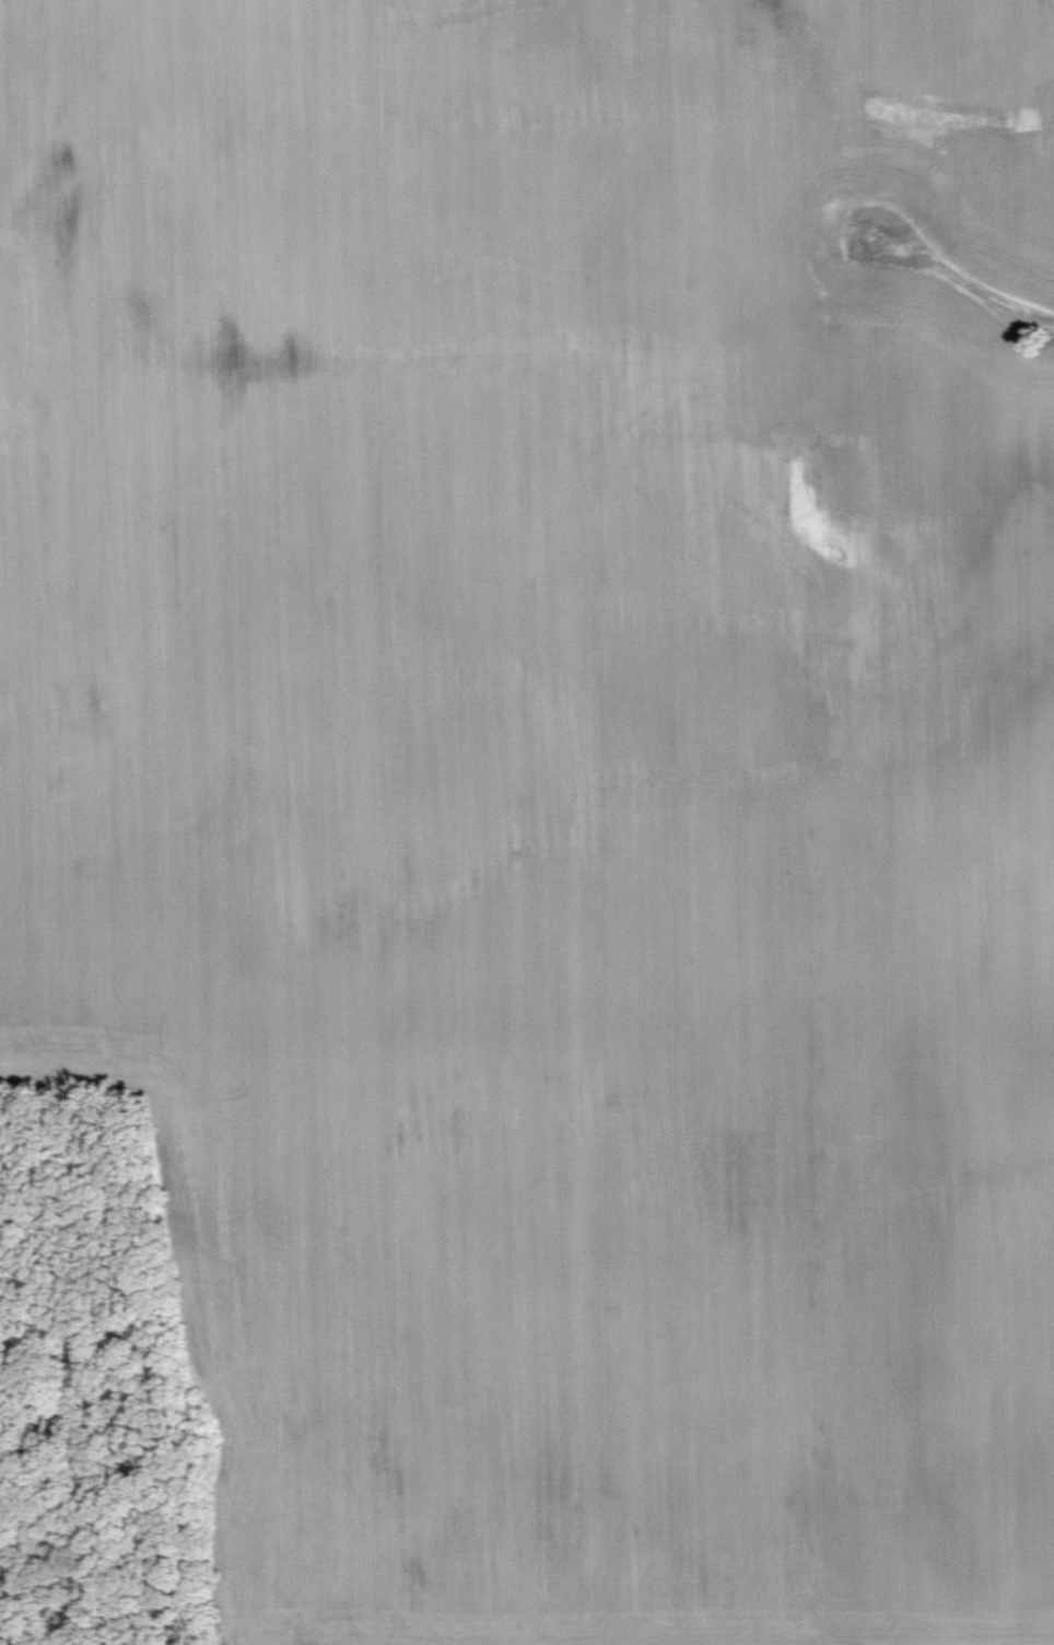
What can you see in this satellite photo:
road: (958, 281)

